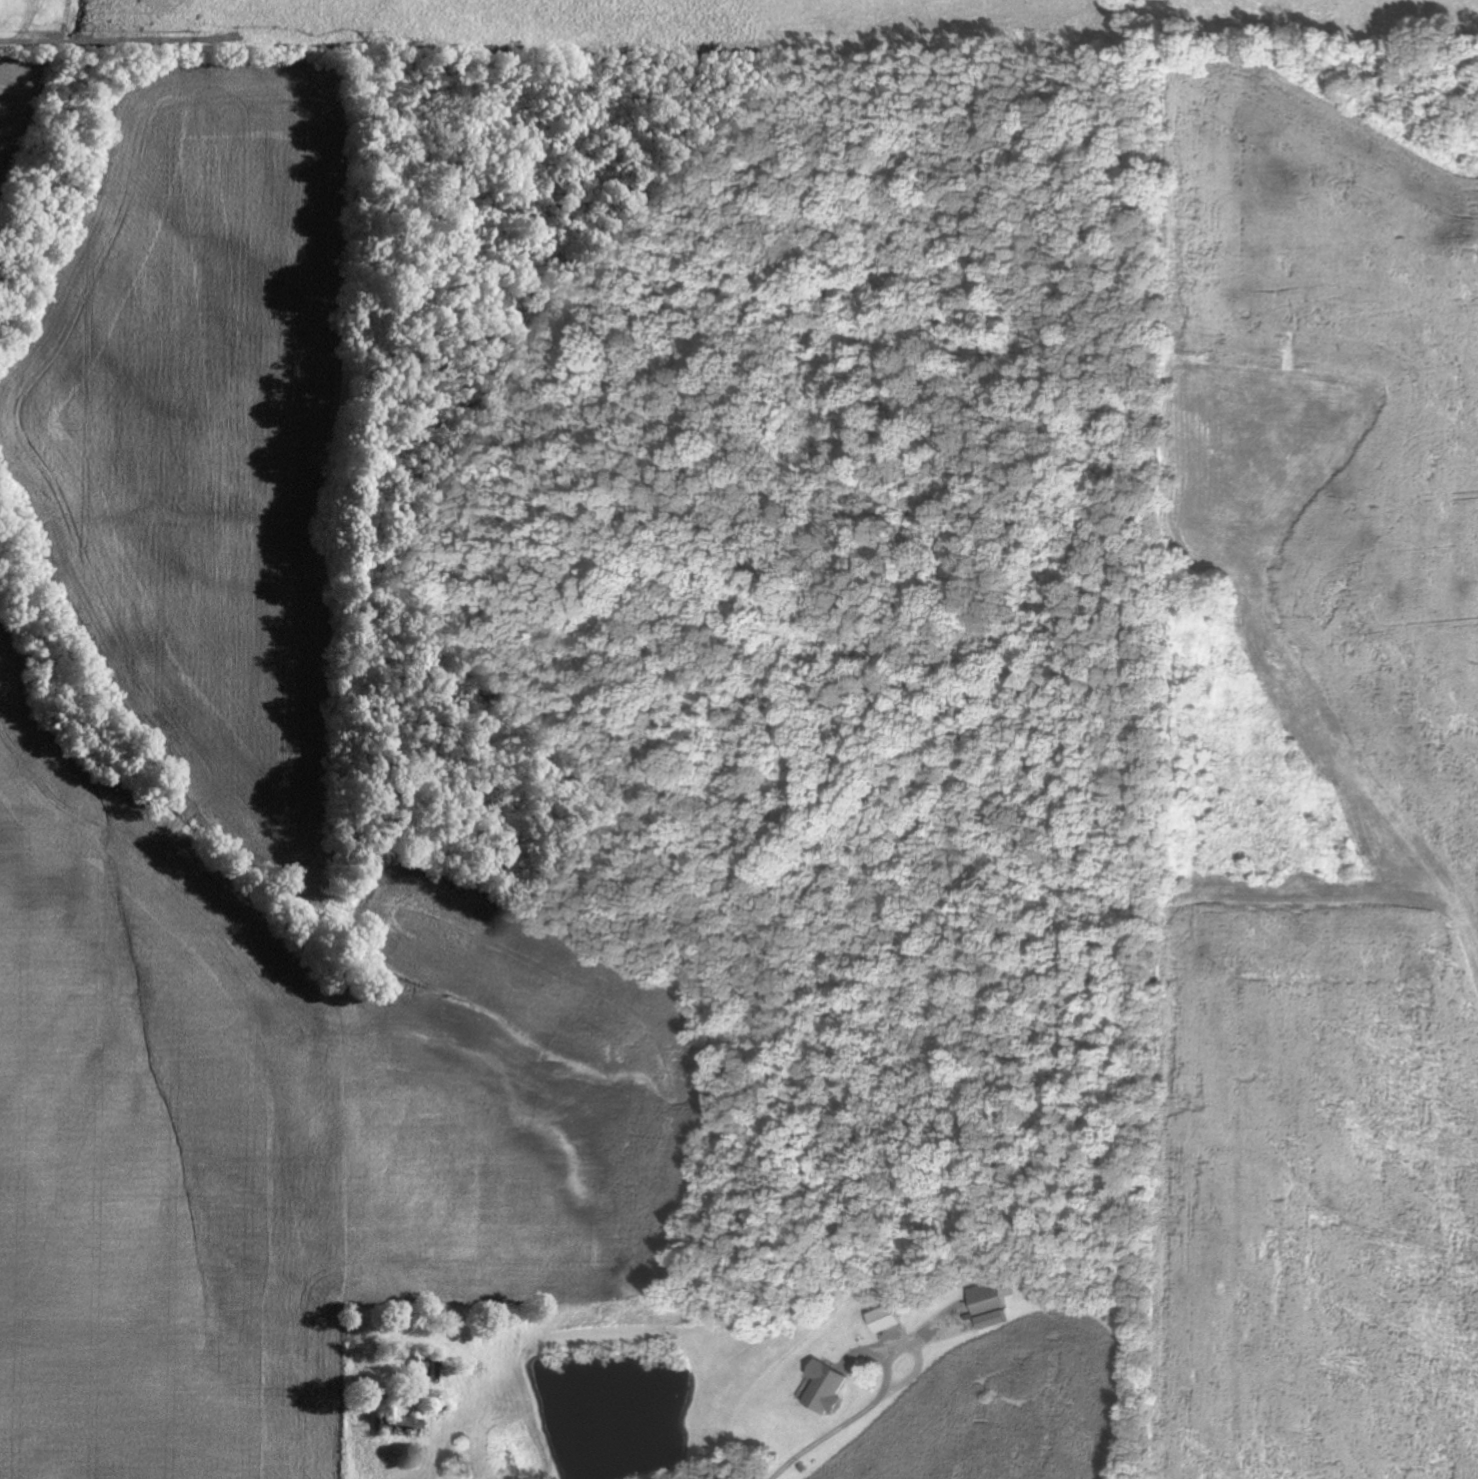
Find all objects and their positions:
building: (986, 1298)
building: (880, 1320)
building: (821, 1389)
building: (393, 1404)
building: (394, 1427)

